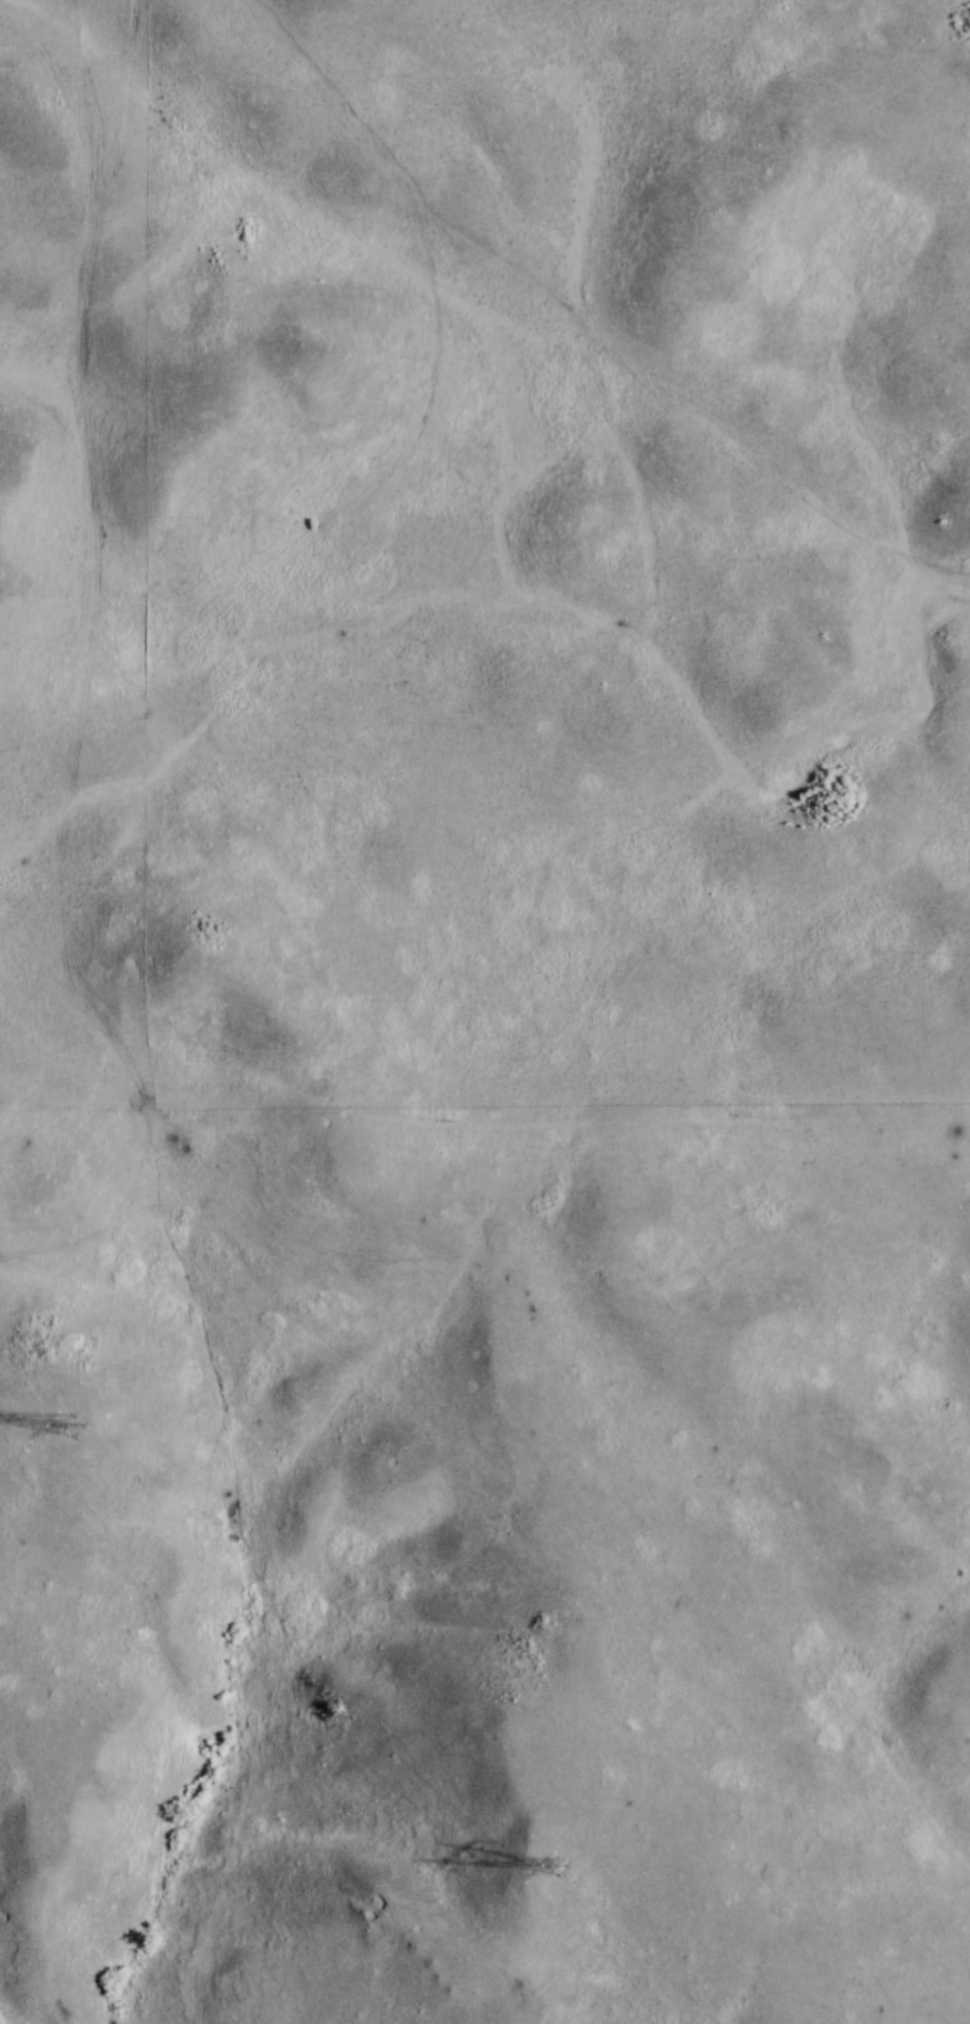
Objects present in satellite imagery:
power tower: (76, 1425)
power tower: (558, 1869)

